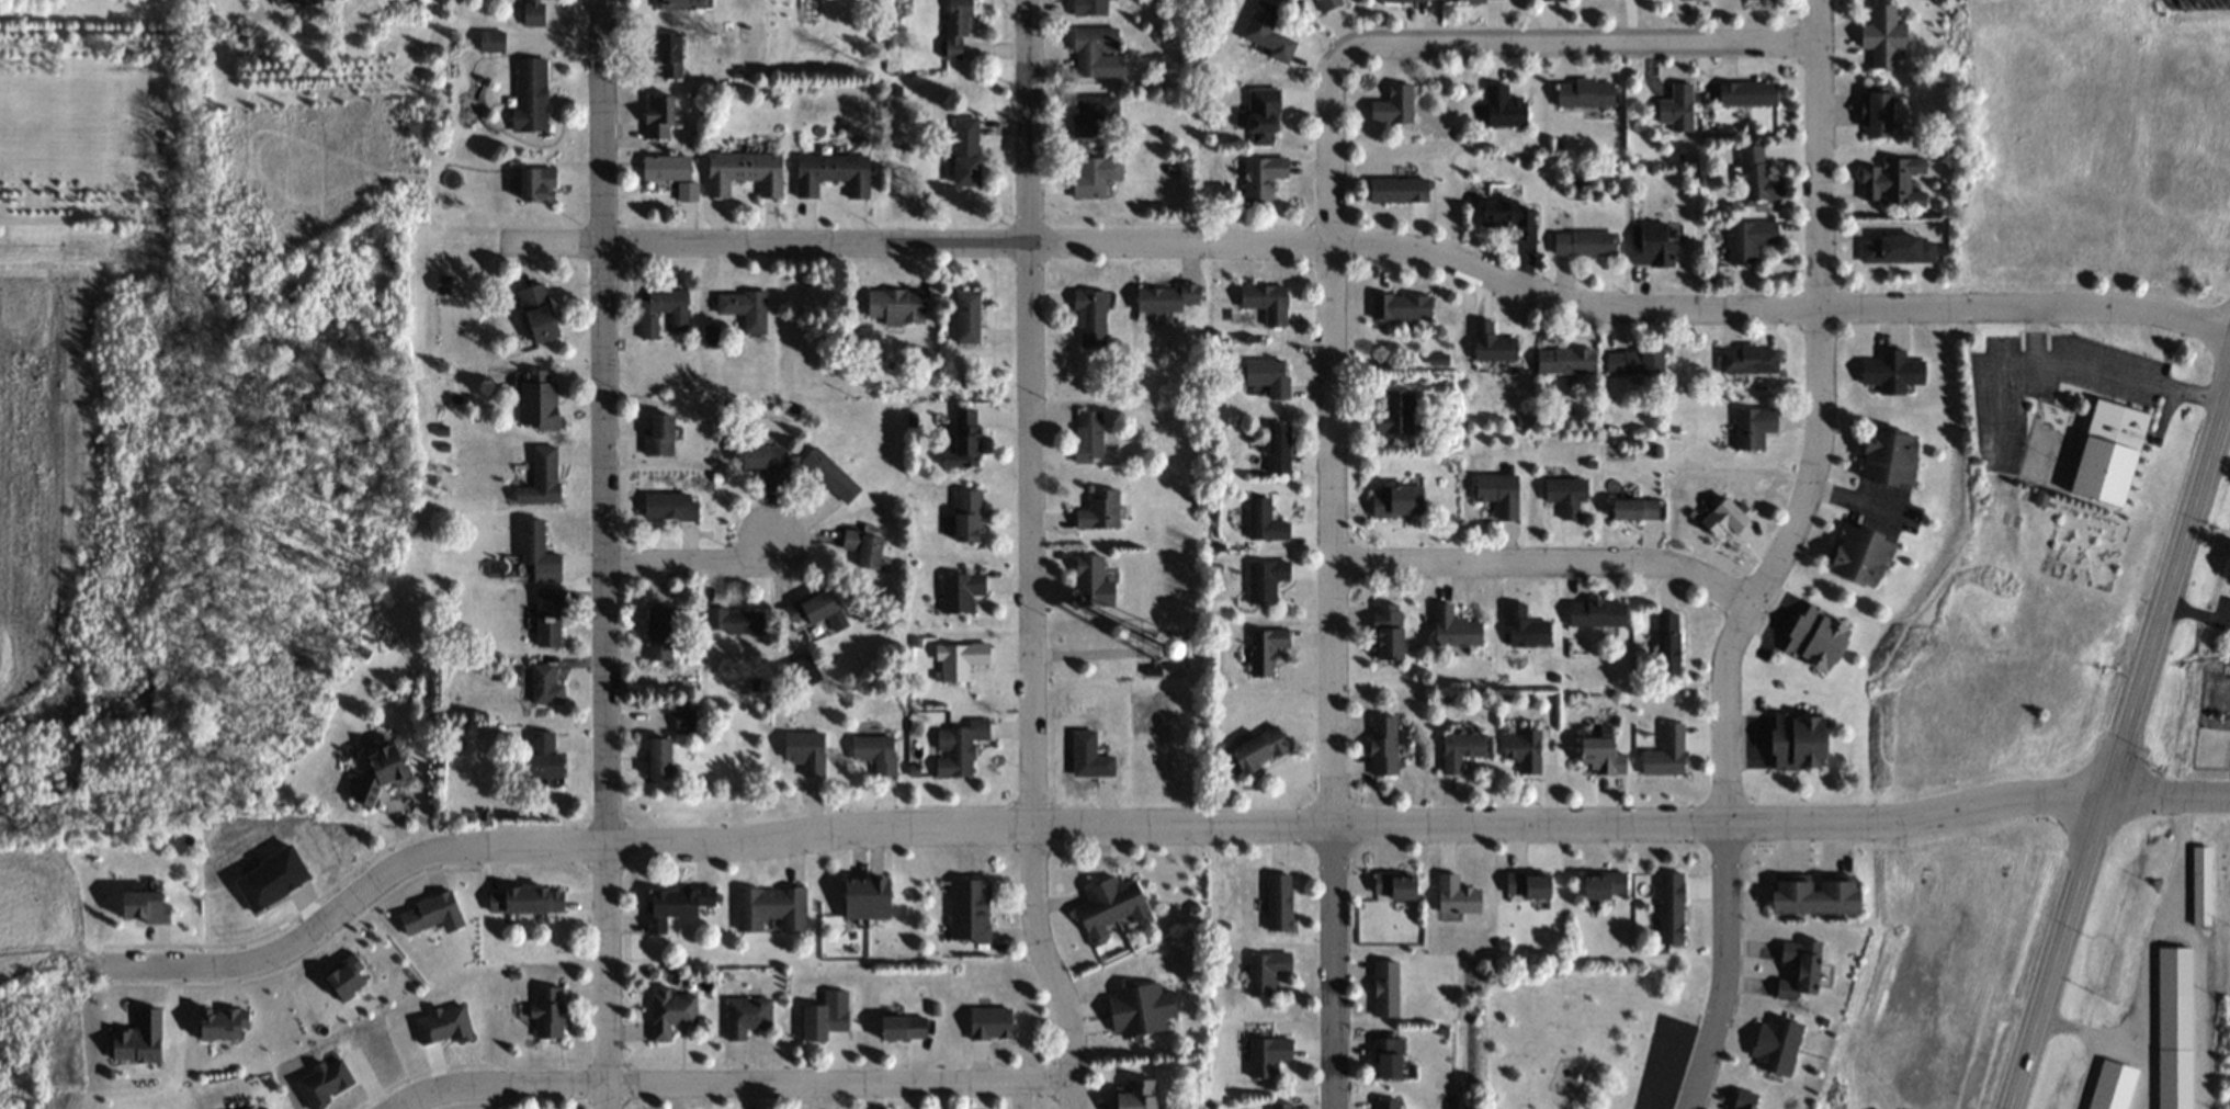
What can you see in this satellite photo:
building: (282, 0)
building: (1405, 0)
building: (1475, 0)
building: (308, 1)
building: (1327, 3)
building: (679, 4)
building: (1089, 7)
building: (534, 11)
building: (958, 26)
building: (1268, 32)
building: (1883, 36)
road: (1573, 41)
building: (1093, 48)
building: (670, 55)
building: (530, 92)
building: (1586, 92)
building: (1748, 92)
building: (1394, 104)
building: (1505, 105)
building: (1677, 106)
building: (1881, 110)
building: (1093, 112)
building: (659, 115)
building: (1264, 115)
building: (967, 150)
building: (745, 171)
building: (672, 173)
building: (834, 173)
building: (1095, 176)
building: (1757, 176)
building: (1263, 177)
building: (1893, 181)
building: (539, 182)
building: (1400, 189)
building: (1505, 213)
building: (1750, 239)
road: (1370, 241)
building: (1585, 242)
building: (1654, 244)
building: (1899, 248)
building: (443, 283)
building: (1166, 297)
building: (1267, 301)
building: (1401, 305)
building: (897, 306)
building: (745, 309)
building: (663, 310)
building: (539, 313)
building: (967, 317)
building: (1090, 318)
building: (711, 338)
building: (1493, 342)
building: (1748, 359)
building: (1565, 360)
building: (1635, 360)
road: (2103, 367)
building: (1892, 371)
building: (1269, 375)
road: (1994, 391)
building: (539, 398)
building: (1395, 410)
road: (1821, 422)
building: (1754, 427)
building: (660, 434)
building: (1088, 435)
building: (969, 437)
building: (2112, 452)
building: (1274, 453)
building: (1890, 456)
building: (763, 459)
building: (830, 475)
building: (542, 477)
building: (1499, 493)
building: (1566, 494)
building: (1399, 501)
building: (670, 506)
building: (1635, 508)
building: (1100, 509)
building: (969, 516)
building: (1728, 517)
building: (1265, 521)
building: (864, 548)
building: (537, 553)
road: (601, 554)
building: (1863, 554)
road: (1029, 556)
road: (689, 561)
road: (1552, 564)
building: (1266, 579)
road: (1335, 579)
building: (1096, 580)
building: (961, 592)
building: (815, 611)
building: (1597, 612)
building: (548, 619)
building: (735, 621)
building: (1526, 626)
building: (1456, 627)
building: (1389, 631)
building: (659, 633)
building: (1820, 638)
water tower: (1175, 644)
building: (1668, 645)
water tower: (1162, 647)
building: (1266, 650)
building: (961, 661)
building: (801, 674)
building: (545, 686)
building: (684, 721)
building: (1801, 740)
building: (1384, 745)
building: (961, 746)
building: (1261, 749)
building: (1461, 749)
road: (2125, 749)
building: (1524, 750)
building: (806, 752)
building: (874, 752)
building: (1667, 752)
building: (1604, 755)
building: (543, 758)
building: (661, 758)
building: (389, 766)
road: (2169, 802)
road: (1093, 824)
building: (1606, 884)
building: (1530, 885)
building: (2200, 885)
building: (1396, 886)
building: (1819, 894)
building: (1457, 895)
building: (525, 899)
building: (868, 899)
building: (1279, 903)
crop: (39, 904)
building: (1111, 906)
building: (144, 907)
building: (678, 907)
building: (769, 907)
building: (1672, 908)
building: (971, 909)
road: (1721, 970)
building: (1802, 970)
building: (1266, 971)
building: (347, 975)
building: (1385, 988)
building: (1141, 1009)
building: (548, 1011)
building: (668, 1012)
building: (825, 1015)
building: (746, 1016)
building: (991, 1022)
building: (903, 1027)
building: (2175, 1027)
park: (1577, 1031)
building: (1776, 1045)
building: (1268, 1055)
building: (1390, 1057)
parking lot: (1661, 1064)
road: (728, 1082)
building: (1135, 1095)
building: (1748, 1099)
building: (1388, 1104)
building: (1281, 1105)
building: (247, 1108)

